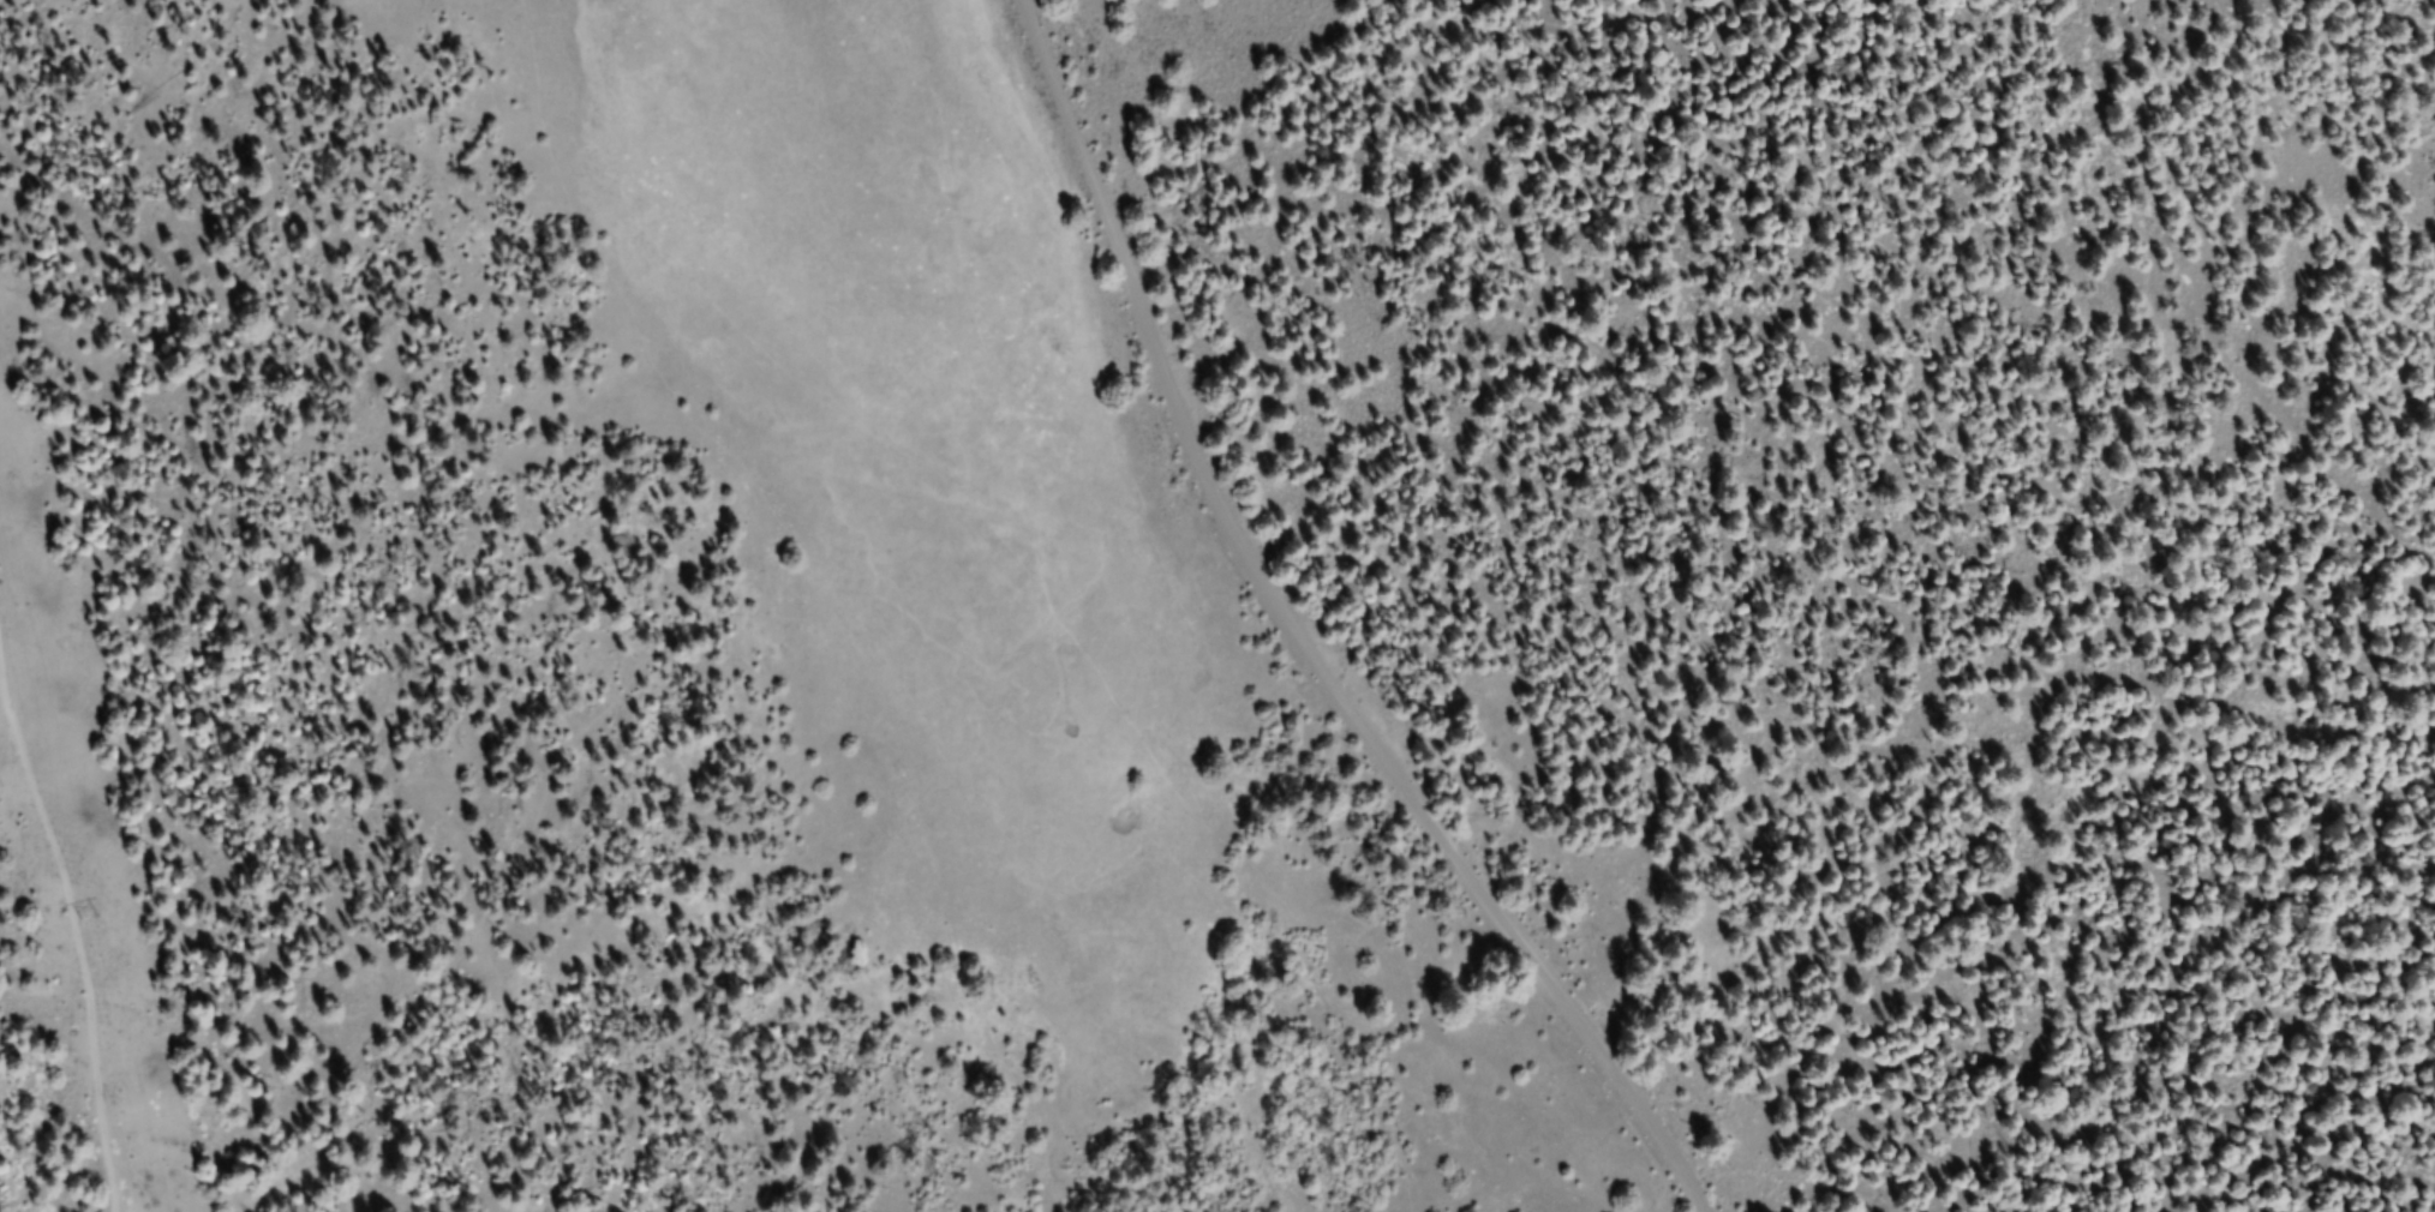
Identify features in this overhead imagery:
road: (1272, 655)
power tower: (80, 917)

